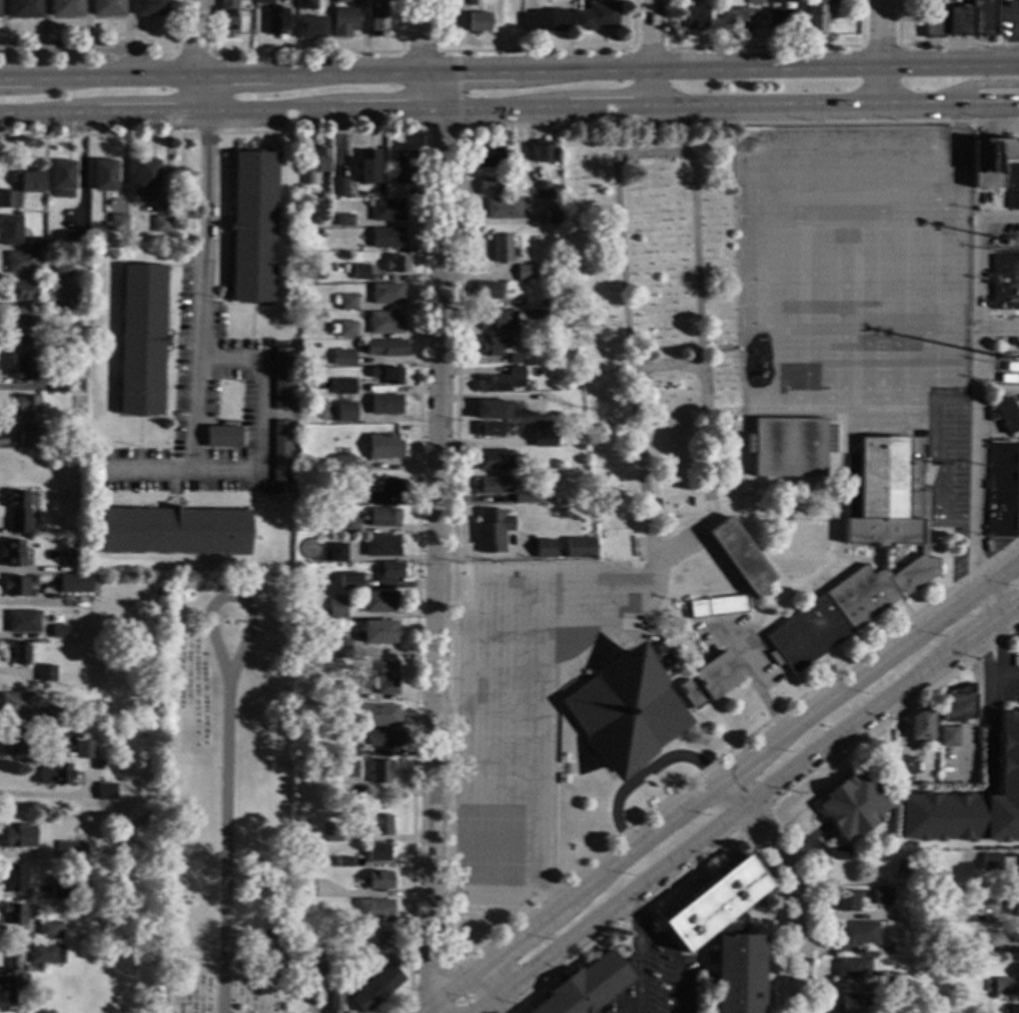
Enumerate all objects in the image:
building: (376, 0)
building: (340, 1)
building: (754, 1)
building: (774, 1)
building: (264, 2)
building: (472, 2)
building: (306, 4)
building: (149, 7)
building: (65, 8)
building: (107, 8)
building: (22, 9)
building: (595, 16)
road: (1015, 16)
building: (228, 17)
building: (816, 17)
building: (931, 17)
building: (694, 18)
building: (735, 18)
building: (781, 19)
building: (972, 19)
building: (276, 21)
building: (344, 21)
building: (544, 21)
building: (376, 22)
building: (477, 22)
road: (126, 24)
building: (310, 27)
road: (1012, 31)
road: (419, 35)
road: (934, 44)
road: (762, 46)
road: (80, 47)
road: (648, 48)
road: (532, 49)
road: (418, 51)
road: (303, 52)
road: (650, 56)
road: (877, 56)
road: (192, 58)
road: (127, 60)
road: (858, 65)
road: (509, 68)
road: (172, 74)
road: (458, 88)
road: (509, 114)
road: (441, 128)
road: (959, 138)
building: (543, 152)
building: (488, 156)
building: (321, 160)
building: (991, 160)
building: (368, 167)
building: (405, 168)
building: (388, 173)
building: (104, 176)
building: (307, 177)
building: (146, 178)
building: (62, 180)
building: (32, 182)
building: (1013, 186)
building: (489, 187)
building: (338, 188)
building: (543, 189)
building: (9, 199)
building: (556, 202)
building: (503, 209)
building: (388, 211)
building: (18, 213)
road: (915, 214)
building: (552, 215)
road: (809, 217)
building: (344, 220)
building: (118, 223)
building: (162, 225)
building: (253, 227)
building: (11, 231)
building: (322, 234)
building: (386, 238)
building: (76, 239)
building: (1011, 241)
building: (35, 243)
building: (502, 248)
road: (960, 259)
building: (22, 263)
building: (397, 264)
road: (171, 265)
building: (344, 268)
road: (694, 270)
building: (63, 271)
building: (360, 272)
building: (524, 272)
building: (1005, 283)
building: (24, 291)
building: (486, 291)
building: (386, 294)
building: (343, 301)
building: (76, 303)
building: (545, 304)
road: (235, 305)
road: (841, 309)
road: (854, 312)
road: (998, 313)
building: (496, 320)
building: (540, 322)
building: (385, 323)
building: (26, 329)
building: (346, 329)
road: (973, 331)
road: (998, 331)
road: (961, 333)
road: (876, 334)
road: (196, 335)
road: (779, 339)
building: (141, 340)
building: (494, 347)
building: (385, 348)
road: (249, 349)
road: (998, 350)
building: (343, 358)
building: (516, 359)
building: (304, 362)
road: (664, 363)
road: (420, 365)
road: (953, 366)
building: (25, 368)
building: (387, 375)
road: (998, 377)
building: (281, 379)
building: (501, 382)
building: (57, 384)
road: (977, 384)
building: (343, 387)
road: (926, 394)
road: (907, 397)
parking lot: (204, 403)
road: (965, 403)
building: (385, 405)
road: (859, 408)
road: (722, 409)
building: (492, 411)
building: (345, 412)
building: (555, 415)
building: (1004, 415)
road: (139, 418)
road: (257, 418)
building: (28, 419)
building: (490, 429)
building: (544, 435)
building: (222, 437)
building: (383, 447)
building: (790, 447)
building: (280, 451)
building: (493, 459)
building: (343, 464)
parking lot: (947, 465)
road: (933, 475)
road: (839, 484)
building: (493, 486)
building: (394, 488)
building: (1001, 489)
road: (673, 490)
parking lot: (1017, 494)
building: (355, 497)
building: (274, 498)
building: (526, 498)
building: (544, 498)
road: (251, 503)
building: (19, 512)
road: (740, 514)
building: (384, 518)
road: (953, 522)
building: (349, 527)
building: (173, 530)
building: (490, 531)
road: (434, 541)
building: (381, 546)
building: (578, 548)
building: (68, 549)
building: (542, 549)
building: (337, 552)
building: (14, 554)
building: (740, 556)
building: (921, 557)
road: (830, 565)
building: (390, 571)
building: (349, 581)
building: (76, 583)
building: (95, 585)
building: (15, 586)
building: (305, 587)
road: (229, 596)
building: (379, 602)
building: (715, 607)
road: (988, 607)
building: (337, 608)
road: (902, 609)
road: (753, 613)
building: (24, 622)
road: (451, 624)
road: (549, 625)
building: (60, 631)
building: (379, 632)
road: (636, 633)
road: (737, 633)
building: (72, 634)
building: (339, 645)
parking lot: (738, 646)
building: (20, 654)
road: (696, 665)
road: (509, 666)
road: (874, 667)
road: (997, 669)
building: (47, 674)
road: (1007, 674)
road: (584, 677)
building: (386, 678)
road: (753, 678)
road: (671, 684)
building: (348, 691)
road: (546, 701)
building: (16, 704)
building: (958, 704)
parking lot: (526, 706)
building: (641, 707)
road: (883, 709)
road: (712, 710)
road: (447, 713)
road: (504, 714)
building: (377, 715)
building: (55, 716)
building: (76, 721)
road: (988, 724)
road: (726, 726)
building: (921, 726)
building: (949, 737)
building: (385, 738)
road: (555, 738)
building: (13, 742)
building: (85, 750)
building: (349, 751)
road: (462, 756)
road: (504, 756)
building: (104, 765)
road: (582, 766)
building: (905, 767)
building: (341, 768)
building: (380, 772)
road: (634, 772)
road: (642, 773)
road: (643, 773)
building: (57, 774)
road: (646, 778)
road: (806, 782)
building: (107, 792)
park: (223, 795)
road: (759, 795)
road: (446, 799)
road: (503, 799)
building: (971, 802)
building: (853, 806)
building: (378, 825)
building: (331, 833)
building: (18, 837)
road: (503, 841)
road: (224, 843)
building: (81, 850)
building: (66, 851)
building: (377, 853)
building: (990, 859)
building: (344, 861)
road: (700, 862)
building: (900, 866)
building: (133, 871)
road: (602, 873)
building: (13, 879)
building: (380, 881)
road: (698, 883)
road: (487, 886)
road: (796, 886)
building: (305, 888)
building: (68, 891)
building: (918, 891)
road: (372, 894)
road: (550, 895)
building: (882, 897)
building: (985, 897)
building: (846, 901)
road: (623, 904)
building: (1015, 904)
building: (374, 911)
road: (635, 913)
building: (14, 914)
building: (893, 916)
building: (50, 930)
road: (649, 930)
building: (725, 935)
building: (857, 935)
building: (1018, 935)
building: (278, 941)
building: (382, 941)
building: (979, 943)
building: (889, 949)
road: (696, 952)
building: (45, 954)
building: (323, 965)
building: (852, 968)
building: (1018, 974)
building: (10, 980)
road: (427, 980)
parking lot: (656, 980)
building: (894, 983)
building: (988, 984)
road: (452, 985)
building: (1001, 986)
building: (587, 987)
building: (375, 989)
road: (457, 989)
road: (491, 989)
building: (308, 992)
building: (917, 1000)
building: (333, 1002)
building: (854, 1004)
road: (489, 1006)
road: (631, 1006)
road: (423, 1008)
road: (510, 1008)
building: (1013, 1009)

